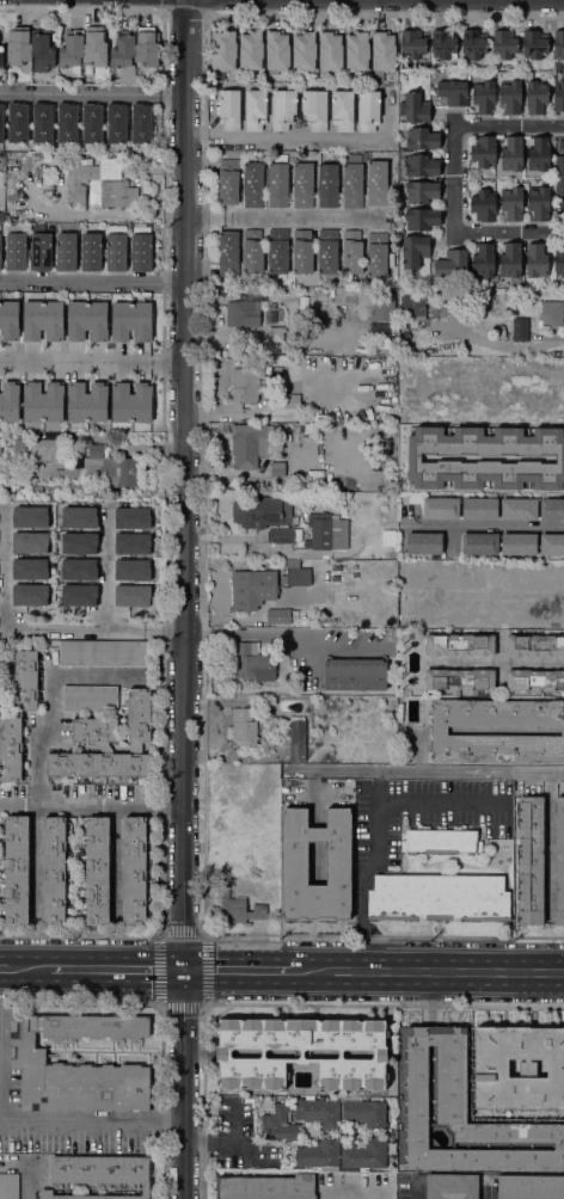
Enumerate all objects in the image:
building: (473, 43)
building: (503, 43)
building: (558, 43)
building: (442, 44)
building: (534, 44)
building: (412, 45)
building: (147, 47)
building: (19, 48)
building: (93, 48)
building: (223, 49)
building: (251, 49)
building: (277, 49)
building: (305, 49)
building: (330, 49)
building: (42, 50)
building: (72, 50)
building: (357, 50)
building: (382, 53)
building: (1, 55)
building: (123, 55)
building: (453, 92)
road: (93, 93)
building: (510, 96)
building: (535, 96)
building: (558, 96)
building: (484, 97)
building: (362, 103)
building: (247, 106)
building: (416, 107)
building: (18, 122)
building: (42, 122)
building: (67, 122)
building: (92, 122)
building: (1, 123)
building: (116, 123)
building: (141, 123)
building: (277, 129)
road: (257, 135)
building: (422, 139)
building: (559, 146)
building: (484, 152)
building: (513, 154)
building: (539, 154)
building: (422, 165)
building: (559, 174)
road: (455, 178)
building: (79, 180)
building: (228, 182)
building: (277, 182)
building: (352, 182)
building: (378, 183)
building: (302, 184)
building: (252, 185)
building: (327, 185)
building: (422, 191)
building: (117, 193)
building: (511, 202)
building: (539, 202)
building: (484, 205)
road: (282, 216)
building: (2, 217)
building: (422, 217)
building: (0, 226)
building: (0, 244)
building: (16, 247)
building: (116, 247)
building: (141, 248)
building: (413, 250)
building: (41, 251)
building: (66, 251)
building: (252, 251)
building: (277, 251)
building: (301, 251)
building: (327, 251)
building: (351, 251)
building: (91, 252)
building: (228, 253)
building: (378, 254)
building: (484, 259)
building: (559, 259)
building: (511, 260)
building: (537, 260)
building: (453, 264)
road: (93, 282)
building: (412, 306)
building: (384, 307)
building: (245, 312)
building: (551, 314)
building: (8, 320)
building: (43, 320)
building: (131, 320)
building: (87, 321)
building: (275, 327)
building: (520, 328)
building: (499, 332)
building: (386, 339)
road: (505, 344)
road: (93, 361)
building: (519, 376)
building: (250, 382)
building: (542, 396)
building: (10, 400)
building: (43, 401)
building: (87, 402)
building: (131, 402)
building: (283, 406)
building: (250, 443)
building: (384, 443)
building: (0, 449)
building: (44, 449)
building: (413, 457)
building: (490, 457)
building: (105, 468)
building: (277, 469)
building: (314, 475)
building: (35, 491)
building: (412, 505)
building: (441, 508)
building: (519, 508)
building: (479, 509)
building: (551, 509)
building: (258, 511)
building: (30, 517)
building: (79, 517)
building: (133, 517)
road: (485, 524)
building: (320, 533)
building: (281, 535)
building: (30, 542)
building: (79, 542)
building: (131, 543)
building: (424, 543)
building: (479, 543)
building: (519, 543)
building: (552, 545)
building: (294, 561)
building: (318, 566)
building: (30, 568)
building: (79, 568)
road: (105, 568)
building: (133, 570)
building: (296, 577)
building: (318, 578)
building: (251, 589)
building: (528, 592)
building: (30, 595)
building: (79, 595)
building: (134, 595)
building: (421, 597)
road: (188, 598)
building: (274, 616)
road: (35, 628)
road: (282, 635)
building: (459, 644)
building: (534, 645)
building: (104, 653)
road: (504, 660)
building: (251, 662)
building: (355, 674)
building: (25, 680)
building: (459, 680)
building: (534, 680)
building: (1, 693)
building: (90, 699)
road: (51, 711)
building: (139, 718)
building: (244, 726)
building: (96, 731)
building: (439, 731)
building: (296, 739)
building: (11, 748)
building: (98, 764)
road: (418, 769)
road: (60, 800)
road: (168, 801)
road: (374, 828)
building: (441, 841)
building: (531, 860)
building: (559, 860)
building: (338, 863)
building: (17, 869)
building: (54, 871)
building: (97, 871)
building: (134, 871)
building: (439, 897)
building: (240, 909)
road: (26, 970)
road: (121, 971)
road: (238, 973)
road: (413, 973)
road: (552, 974)
building: (301, 1052)
building: (27, 1063)
building: (491, 1068)
building: (318, 1112)
building: (364, 1112)
building: (462, 1112)
road: (94, 1119)
building: (278, 1125)
road: (233, 1139)
road: (245, 1148)
building: (318, 1152)
building: (364, 1154)
building: (98, 1174)
building: (449, 1185)
building: (8, 1186)
building: (265, 1187)
building: (529, 1187)
road: (354, 1194)

